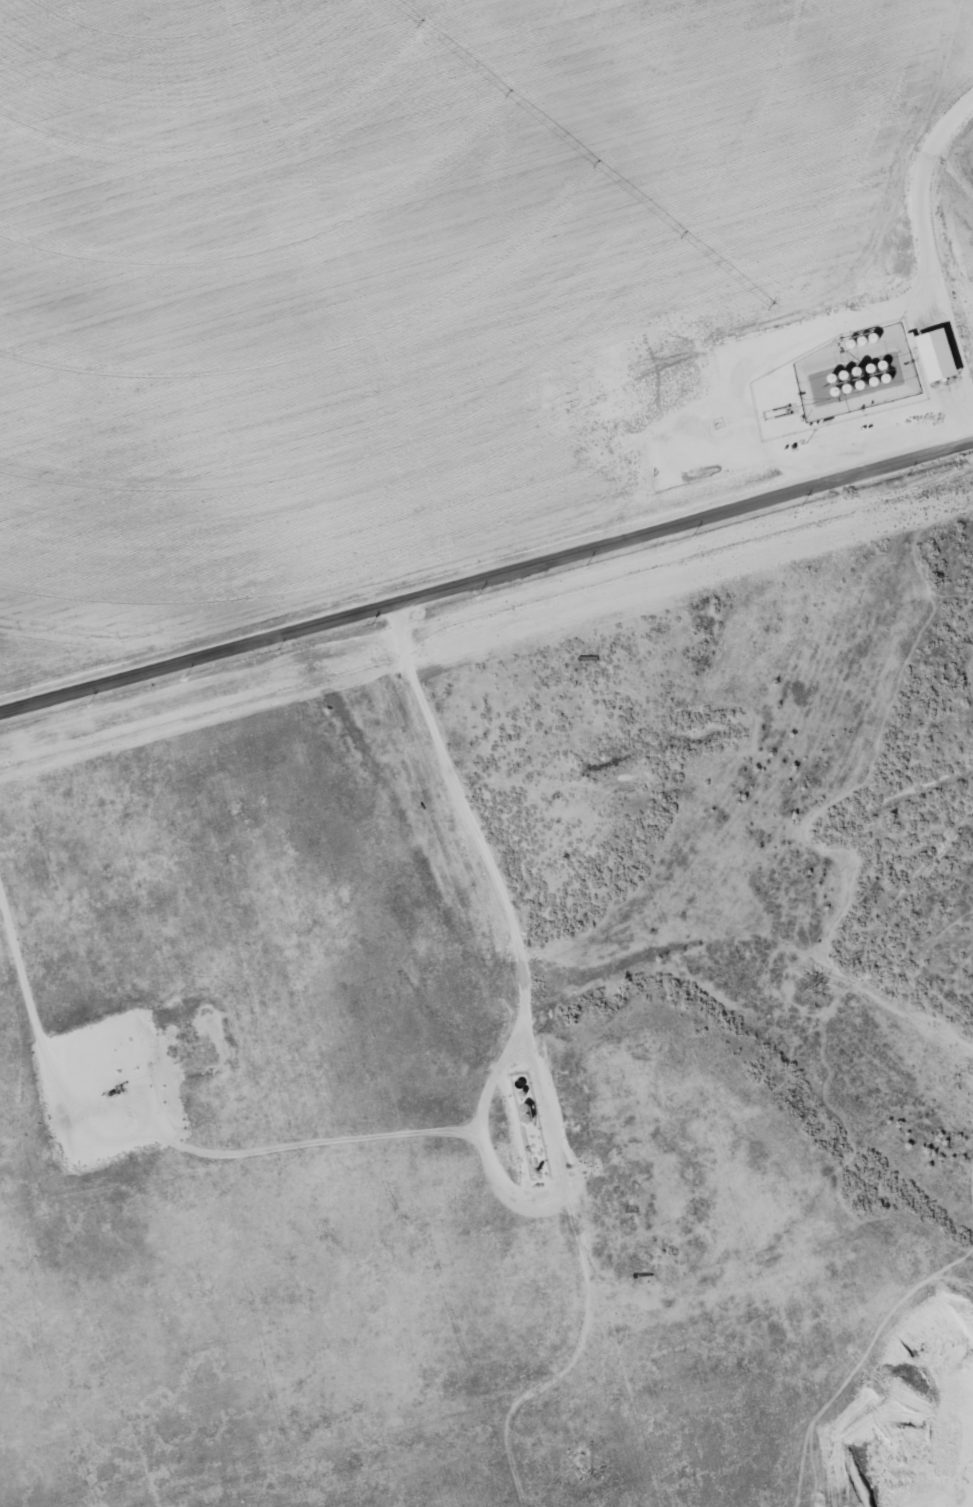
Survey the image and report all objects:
river: (922, 82)
road: (924, 258)
road: (261, 347)
building: (932, 357)
road: (486, 570)
river: (827, 840)
petroleum well: (117, 1087)

